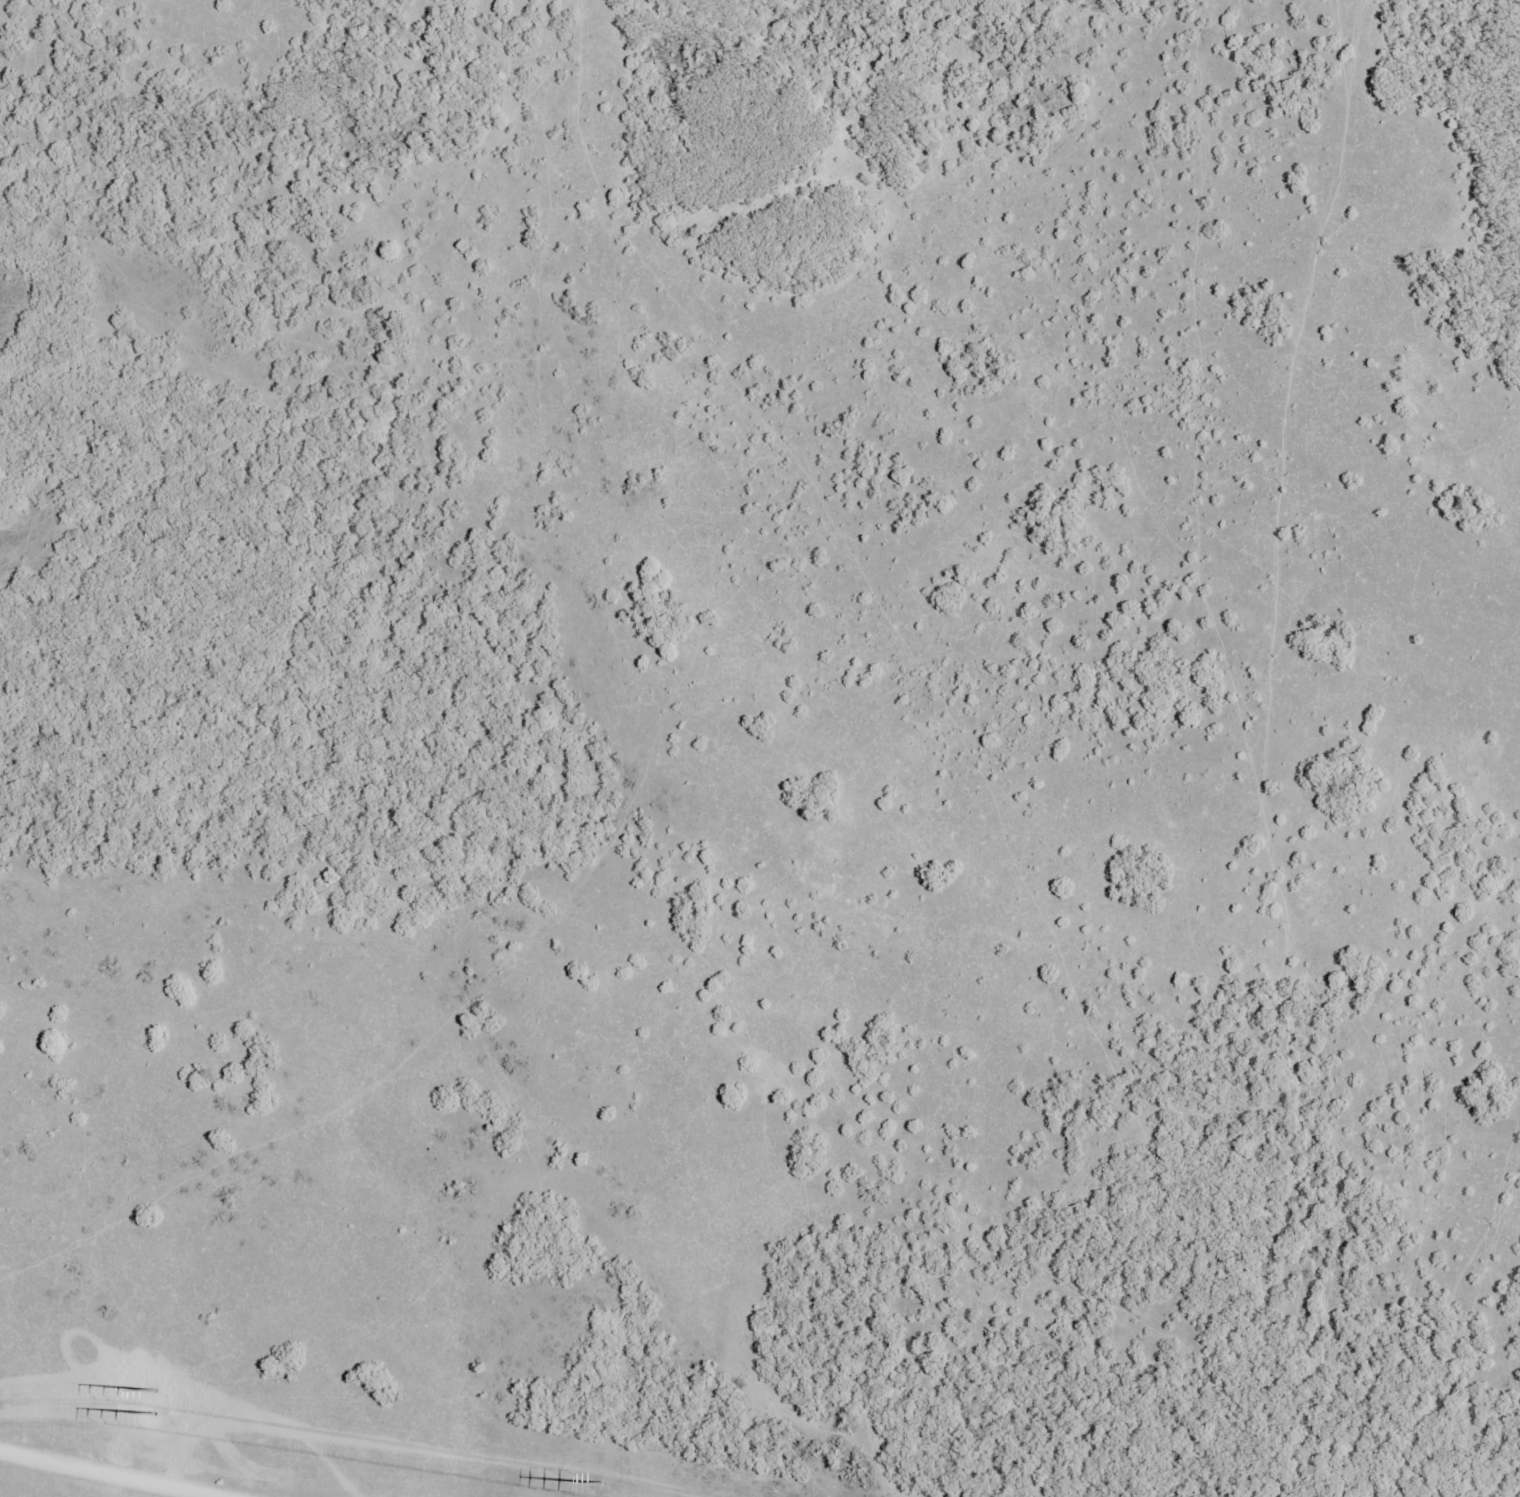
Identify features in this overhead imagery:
power tower: (162, 1419)
road: (145, 1470)
power tower: (606, 1487)

